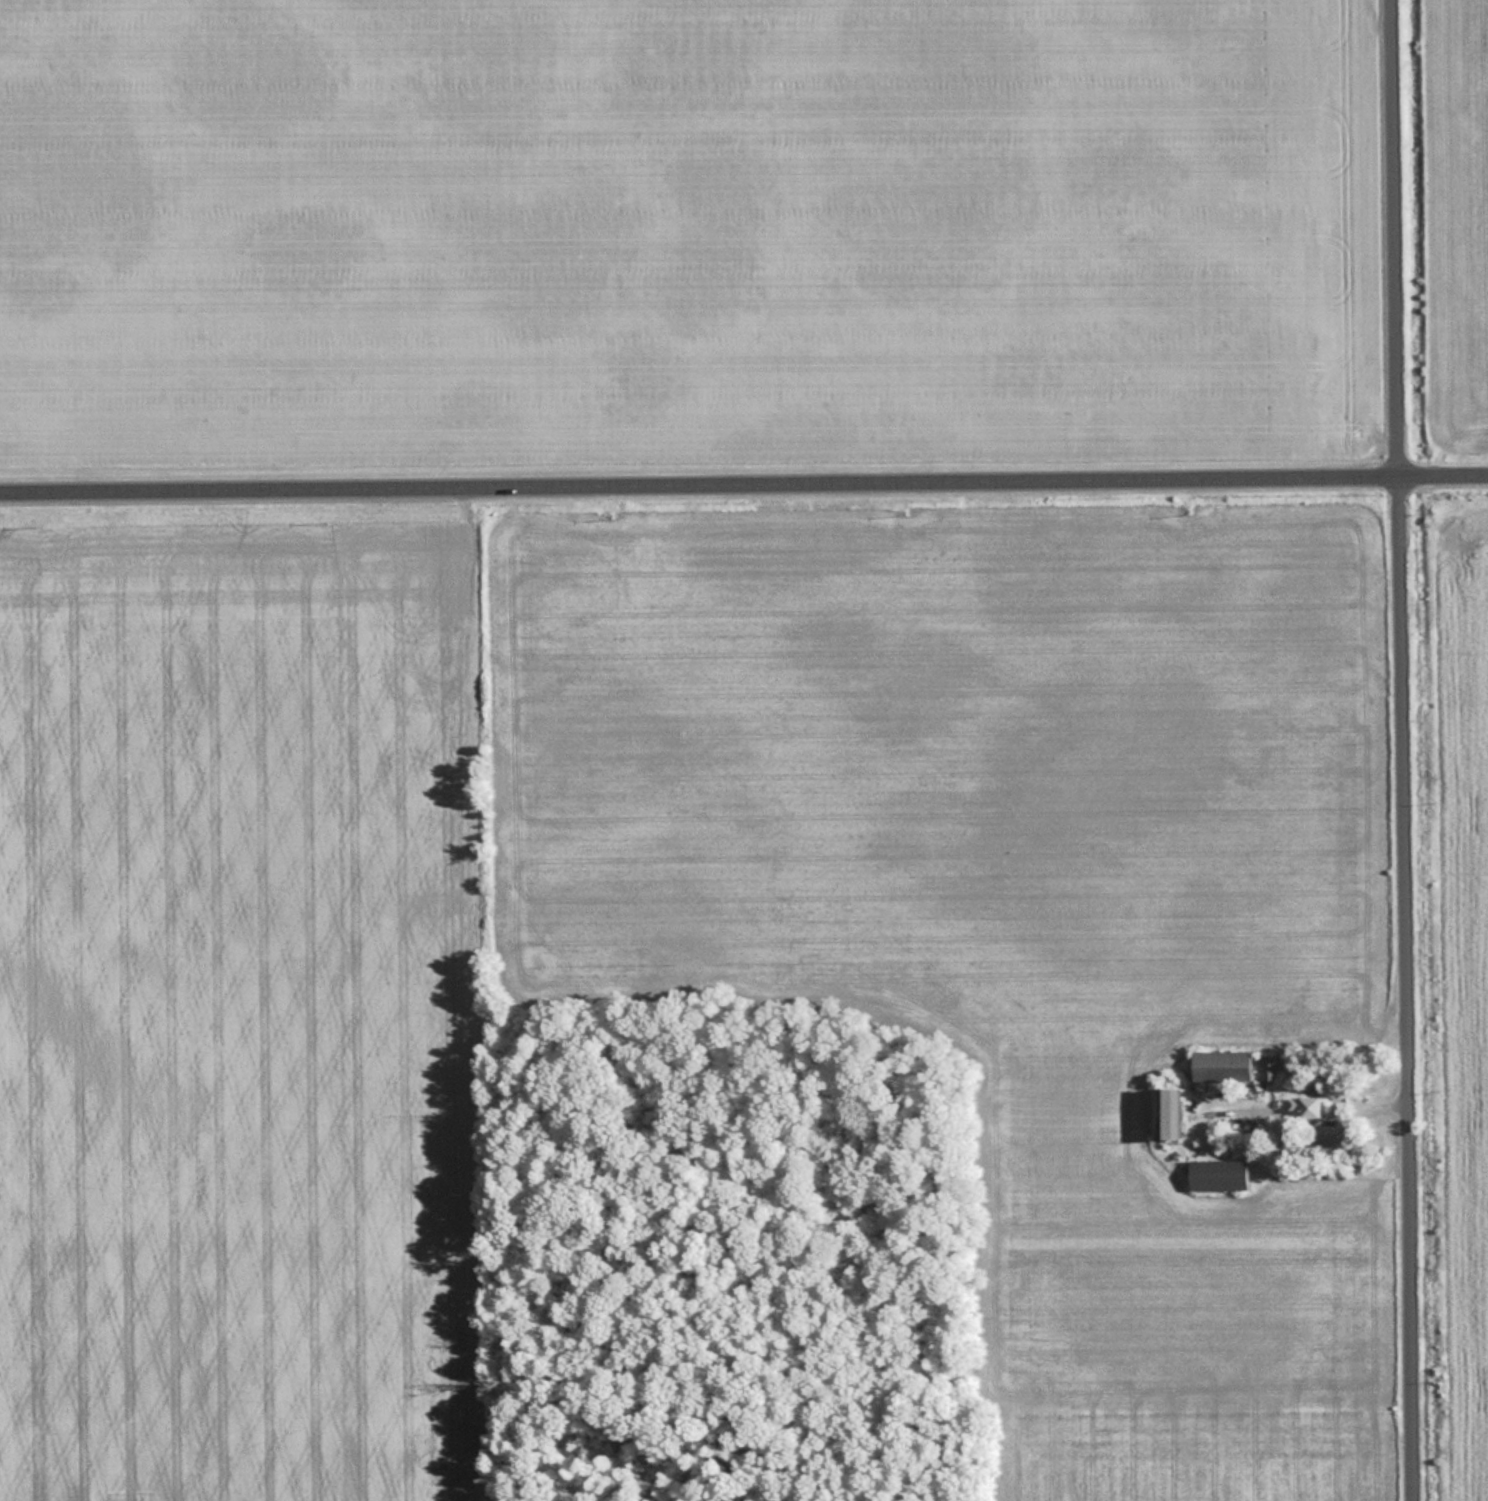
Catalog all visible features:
road: (1400, 239)
road: (743, 484)
road: (1410, 989)
building: (1220, 1065)
building: (1266, 1067)
building: (1305, 1106)
building: (1166, 1113)
building: (1218, 1174)

